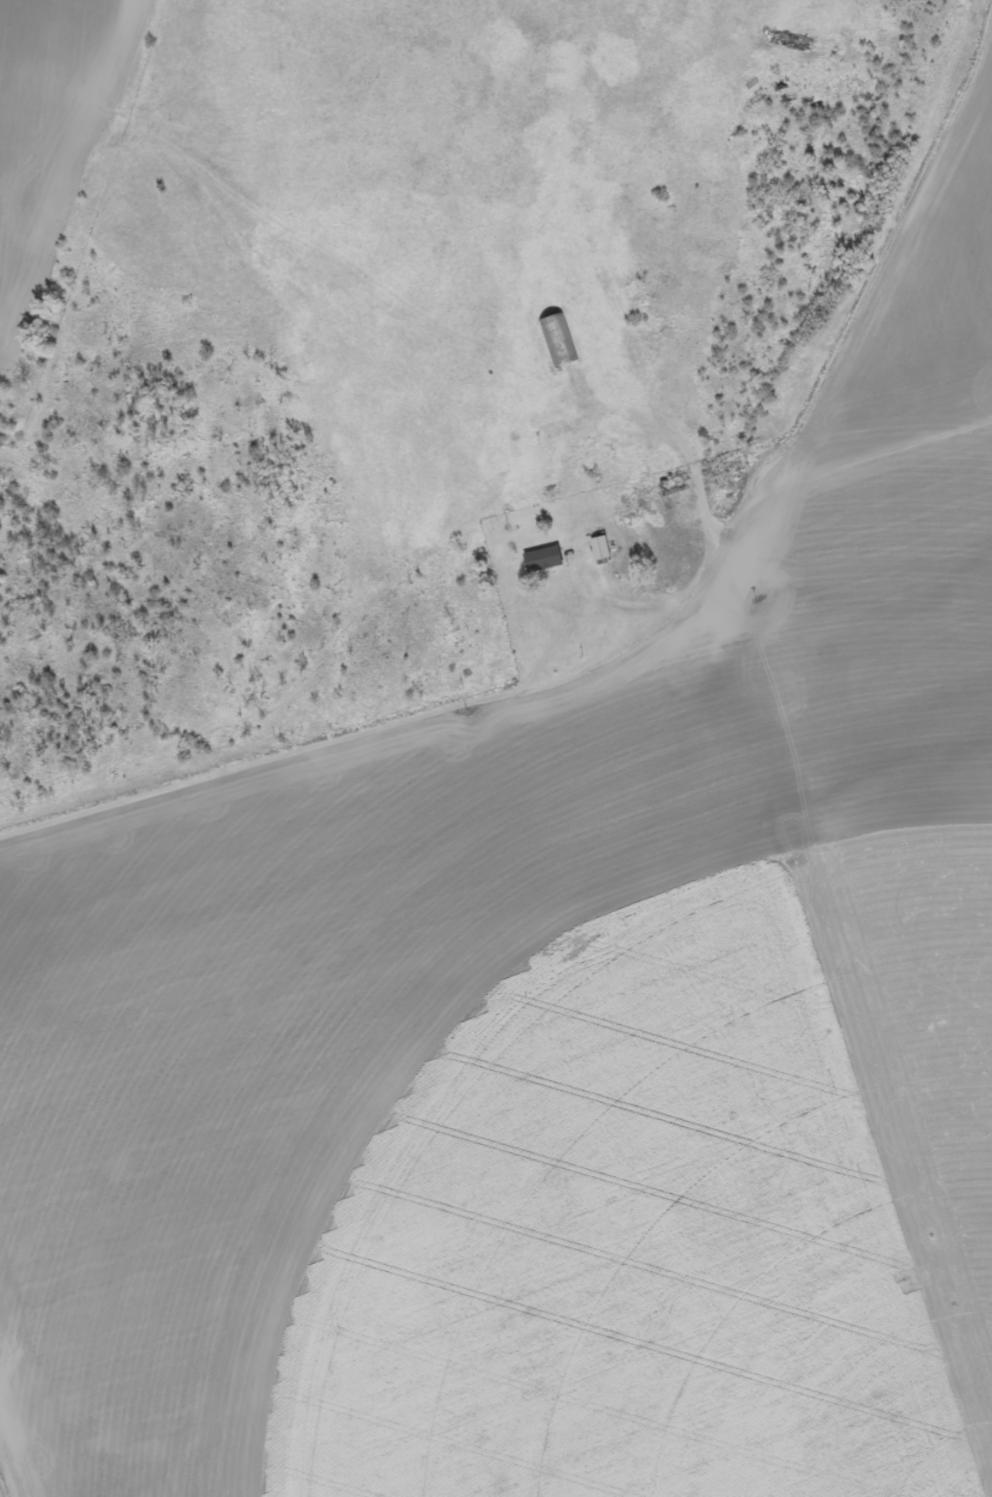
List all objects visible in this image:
road: (887, 307)
road: (429, 313)
building: (562, 343)
building: (605, 550)
building: (548, 561)
road: (779, 684)

